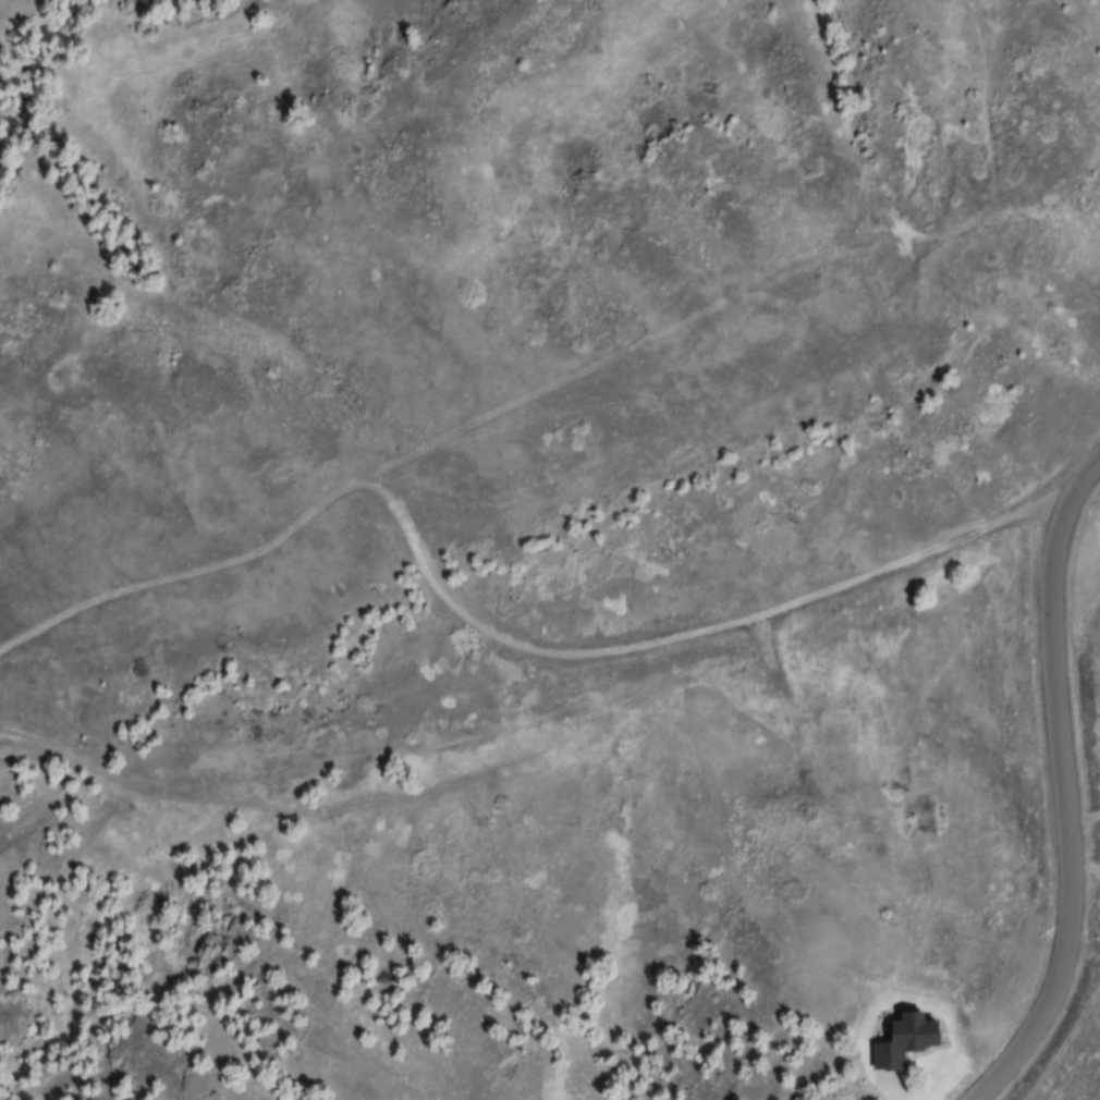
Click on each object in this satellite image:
road: (1062, 791)

